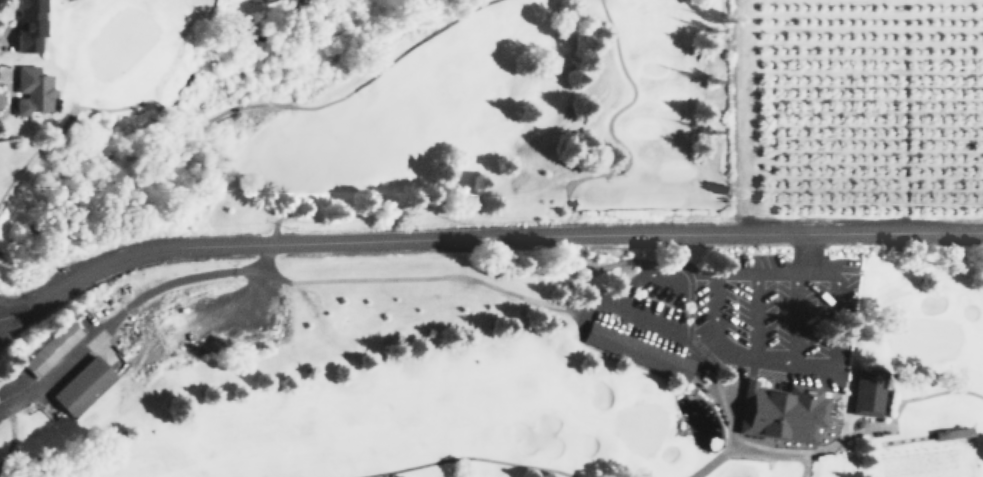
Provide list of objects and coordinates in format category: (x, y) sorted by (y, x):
building: (28, 24)
building: (31, 90)
road: (341, 95)
road: (165, 106)
road: (63, 121)
road: (608, 121)
road: (484, 238)
park: (447, 261)
road: (658, 265)
road: (429, 276)
road: (131, 302)
road: (619, 308)
road: (754, 314)
road: (794, 316)
building: (52, 347)
building: (633, 348)
road: (739, 354)
building: (86, 385)
road: (931, 393)
building: (867, 396)
building: (780, 412)
road: (728, 424)
road: (726, 443)
road: (467, 457)
road: (793, 458)
road: (804, 468)

